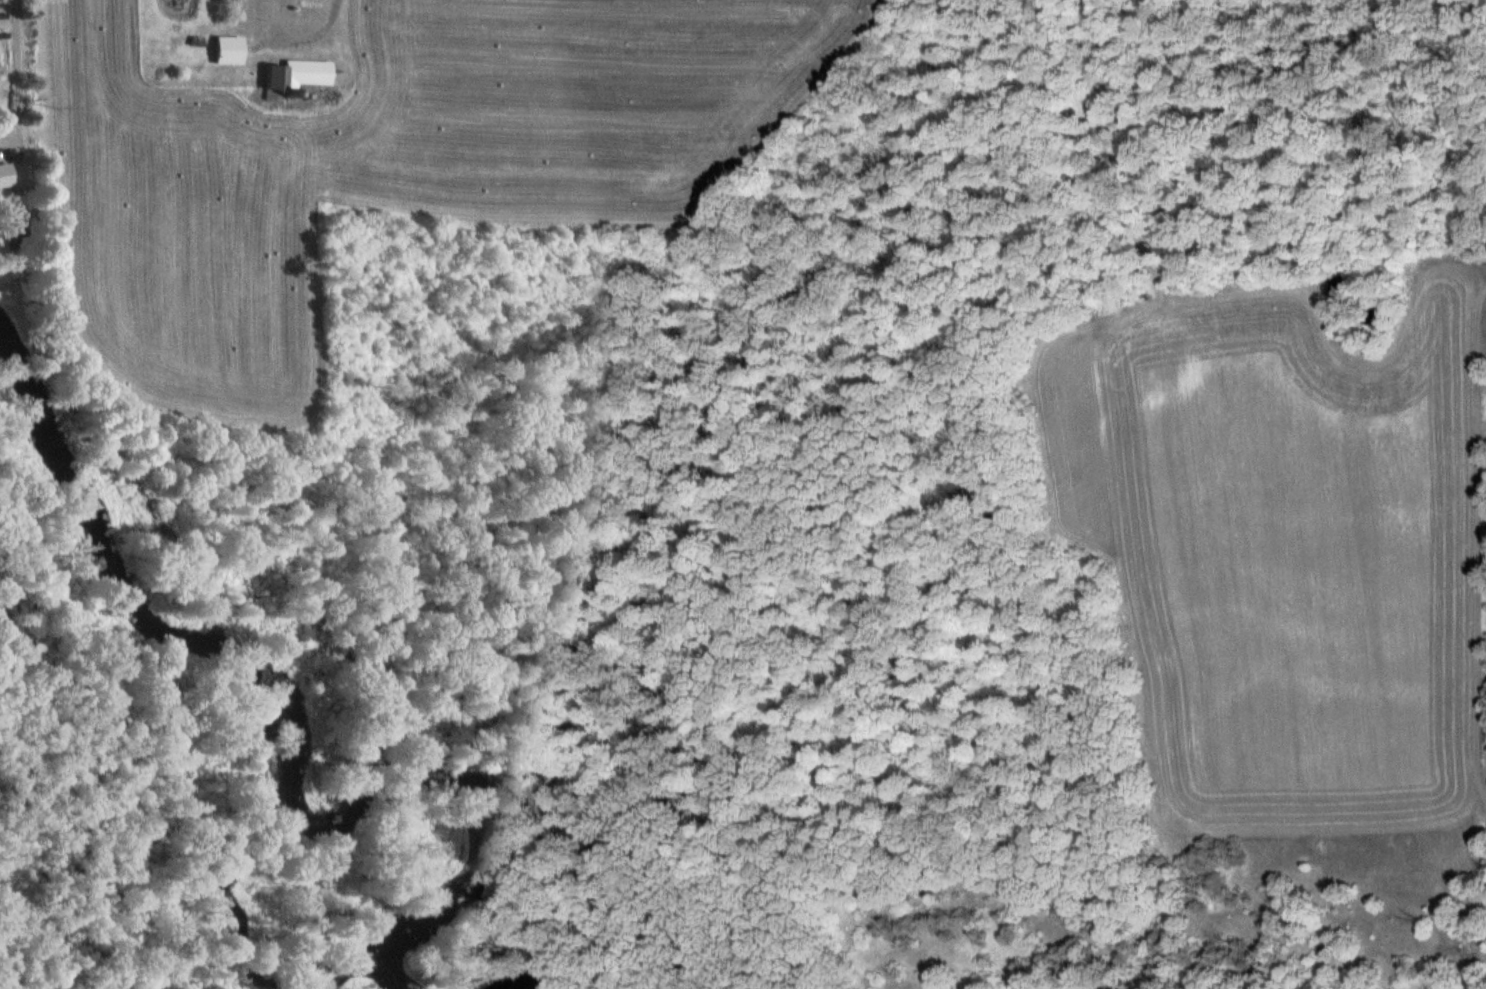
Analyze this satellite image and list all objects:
road: (313, 36)
building: (223, 50)
road: (15, 72)
building: (293, 75)
building: (2, 175)
river: (297, 730)
river: (247, 948)
river: (534, 977)

